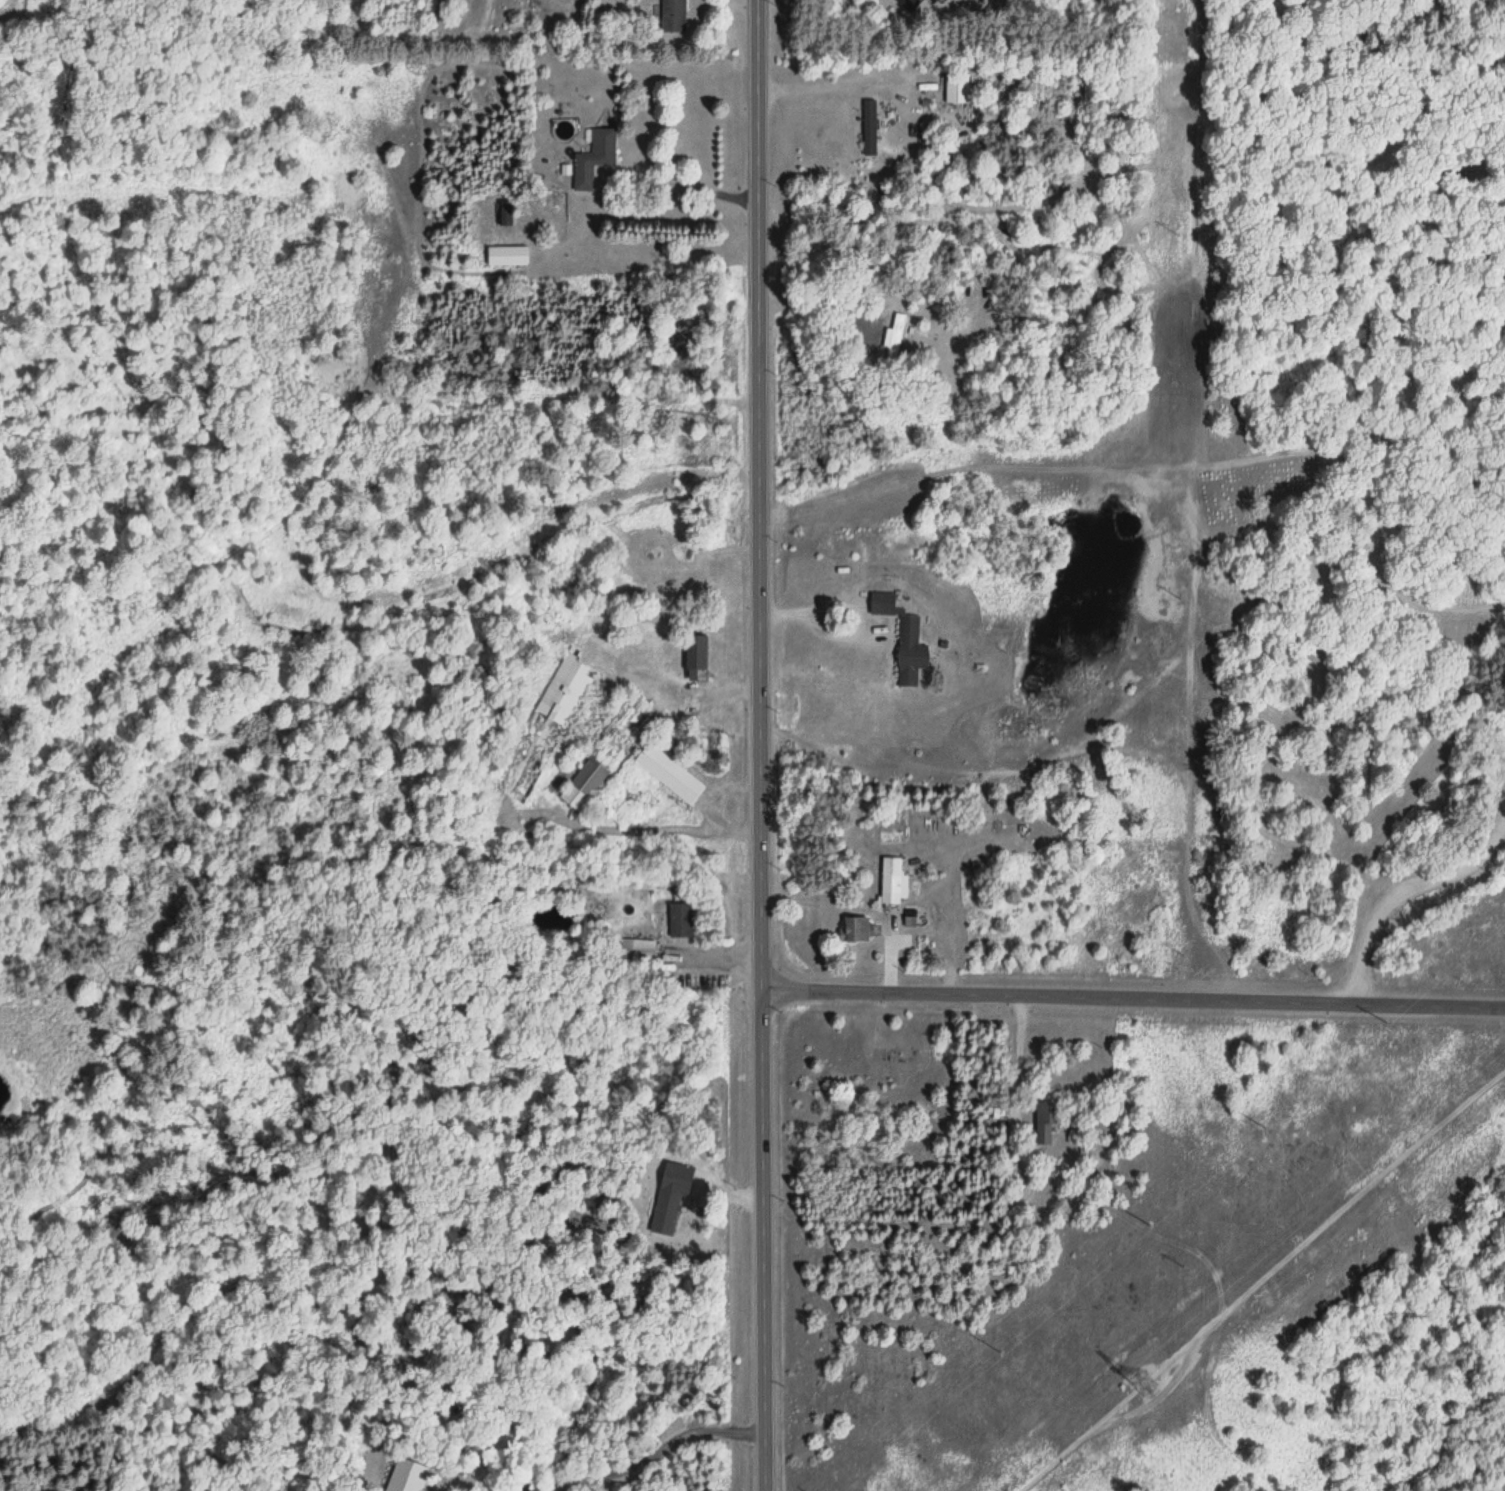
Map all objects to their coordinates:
building: (909, 4)
building: (672, 17)
road: (846, 88)
building: (956, 89)
building: (869, 128)
building: (594, 159)
building: (505, 214)
building: (507, 256)
building: (894, 337)
building: (910, 651)
building: (695, 653)
building: (543, 731)
road: (761, 745)
building: (668, 774)
building: (583, 785)
building: (892, 880)
road: (1404, 892)
building: (680, 920)
building: (855, 929)
building: (638, 951)
road: (889, 951)
road: (1133, 997)
building: (1045, 1122)
power tower: (1145, 1375)

